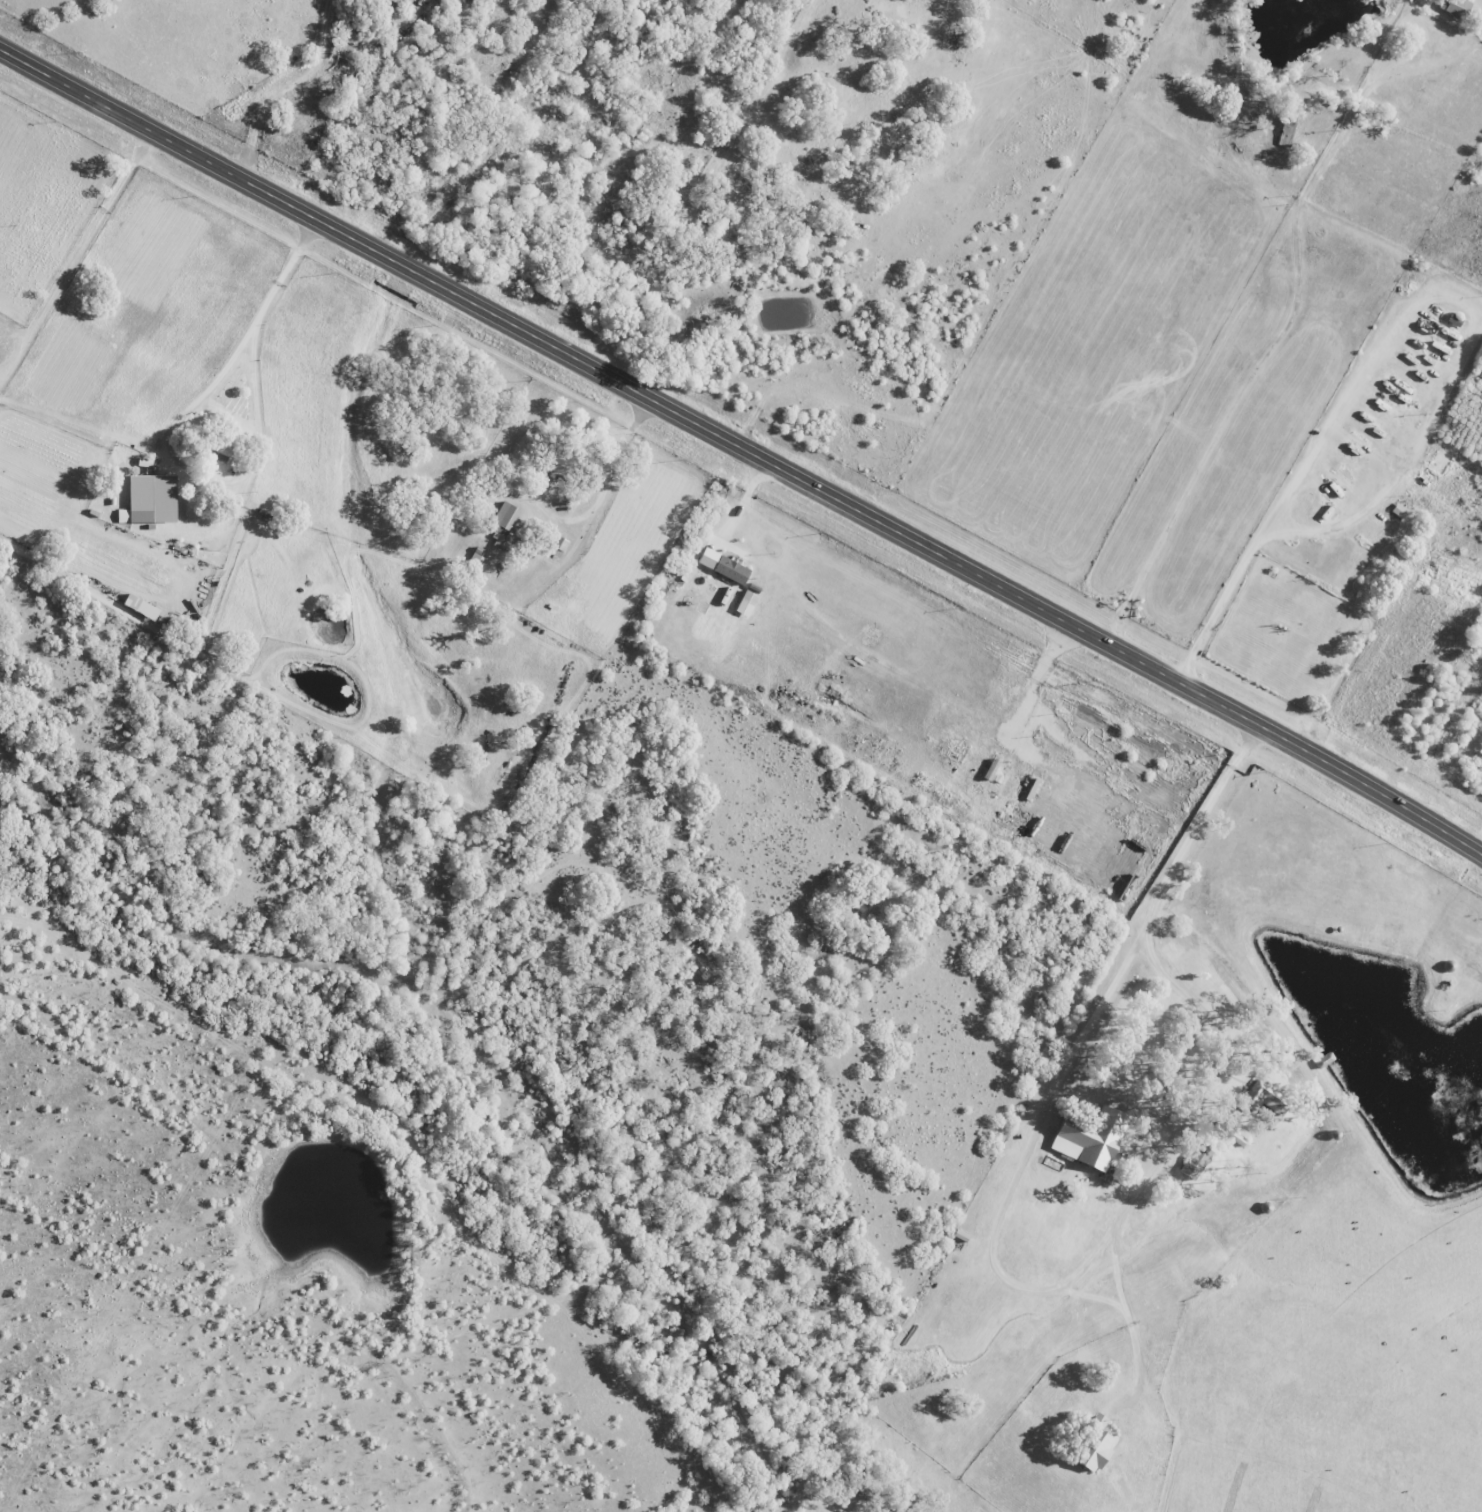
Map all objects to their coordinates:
building: (401, 2)
building: (1457, 7)
road: (135, 52)
road: (284, 85)
road: (80, 270)
road: (1293, 313)
road: (240, 341)
road: (742, 442)
road: (1309, 450)
building: (219, 453)
road: (1402, 461)
building: (558, 464)
building: (151, 500)
road: (744, 502)
building: (1399, 511)
road: (537, 514)
building: (506, 519)
building: (725, 566)
building: (749, 600)
road: (1023, 863)
road: (1150, 909)
building: (1094, 1141)
building: (1198, 1162)
road: (991, 1239)
road: (1123, 1302)
road: (1138, 1357)
building: (1099, 1453)

